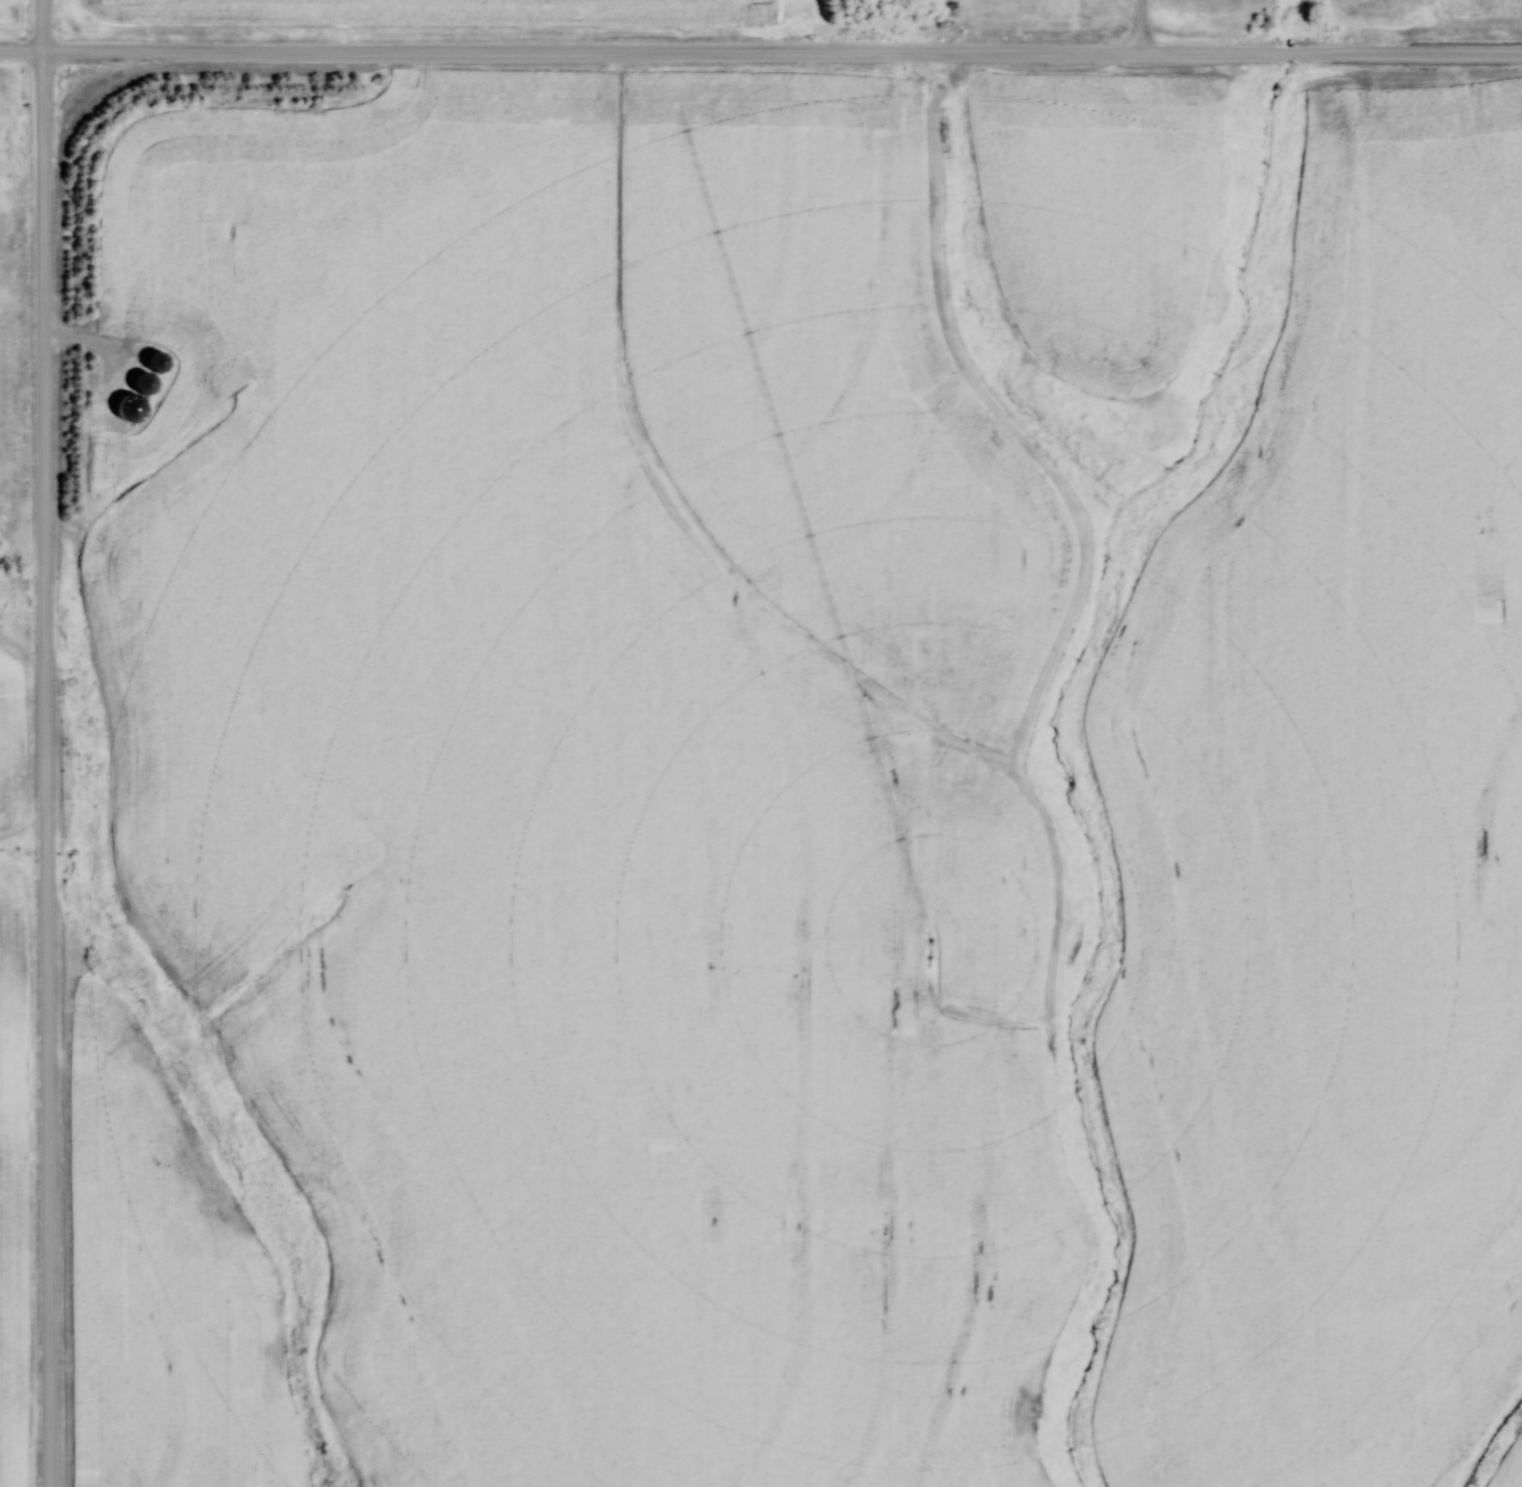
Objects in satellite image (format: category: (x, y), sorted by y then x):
road: (1142, 29)
road: (761, 56)
road: (47, 743)

